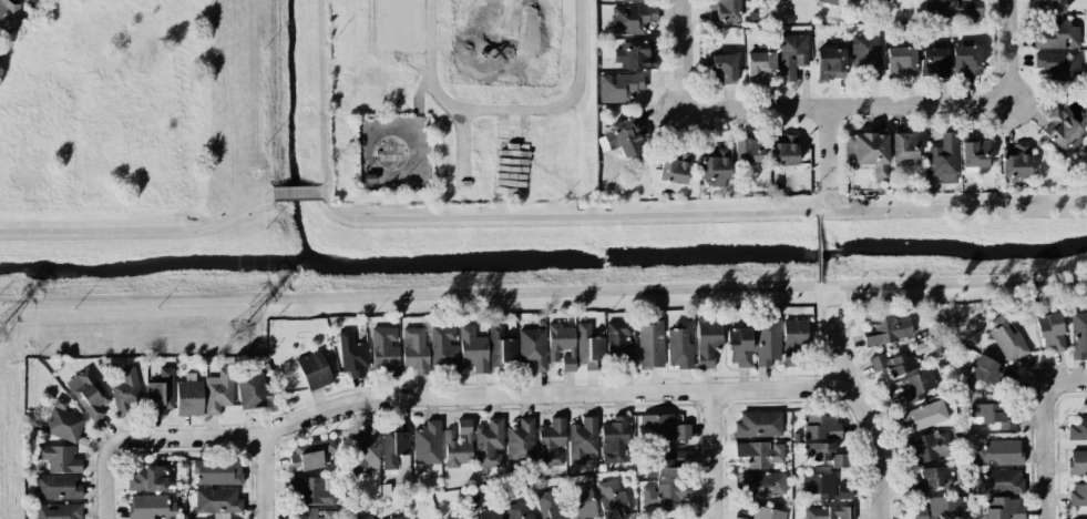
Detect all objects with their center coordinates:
building: (23, 0)
building: (630, 0)
building: (881, 0)
building: (828, 1)
building: (1048, 7)
building: (8, 8)
building: (954, 8)
building: (725, 10)
building: (633, 18)
building: (1056, 35)
road: (683, 52)
road: (1014, 52)
building: (636, 55)
building: (791, 55)
building: (866, 55)
building: (965, 60)
building: (901, 62)
building: (934, 62)
building: (830, 63)
building: (1057, 64)
building: (760, 67)
building: (722, 68)
building: (618, 86)
road: (444, 95)
road: (566, 101)
road: (848, 106)
building: (1063, 131)
building: (623, 138)
building: (904, 147)
building: (747, 150)
road: (830, 150)
building: (868, 152)
building: (975, 153)
building: (783, 154)
building: (943, 156)
building: (1014, 161)
building: (715, 167)
building: (670, 172)
road: (294, 195)
road: (819, 201)
road: (697, 214)
road: (139, 231)
road: (818, 250)
road: (819, 285)
road: (543, 294)
road: (847, 315)
building: (889, 329)
power tower: (242, 333)
building: (1049, 333)
building: (1078, 335)
road: (822, 337)
building: (792, 338)
building: (1007, 338)
building: (707, 340)
road: (851, 343)
building: (618, 344)
building: (679, 344)
building: (755, 344)
building: (561, 345)
building: (650, 345)
building: (587, 346)
building: (501, 347)
road: (839, 347)
building: (532, 348)
building: (386, 349)
building: (414, 349)
building: (443, 349)
building: (472, 349)
building: (352, 355)
building: (893, 364)
building: (312, 370)
building: (989, 373)
road: (1067, 381)
building: (914, 388)
building: (252, 389)
building: (161, 390)
building: (217, 391)
building: (126, 393)
building: (90, 394)
road: (471, 396)
building: (188, 398)
building: (921, 416)
building: (991, 416)
building: (63, 423)
building: (758, 424)
building: (820, 427)
building: (662, 428)
building: (1078, 428)
building: (582, 439)
building: (521, 440)
building: (614, 440)
building: (552, 442)
building: (427, 444)
building: (489, 444)
building: (459, 445)
building: (930, 446)
road: (878, 448)
building: (365, 449)
building: (394, 450)
building: (998, 452)
road: (1044, 452)
building: (311, 454)
building: (759, 454)
building: (821, 454)
road: (714, 455)
building: (59, 458)
building: (1077, 461)
building: (666, 465)
building: (217, 471)
road: (262, 477)
building: (145, 478)
building: (930, 479)
building: (762, 482)
building: (55, 487)
building: (825, 487)
road: (110, 489)
building: (310, 490)
building: (665, 495)
building: (1078, 495)
building: (612, 499)
building: (217, 501)
building: (581, 501)
building: (548, 505)
building: (151, 507)
building: (939, 508)
building: (1003, 508)
building: (517, 510)
building: (60, 511)
building: (829, 512)
building: (314, 513)
building: (761, 513)
building: (488, 515)
building: (458, 516)
building: (365, 518)
building: (399, 518)

